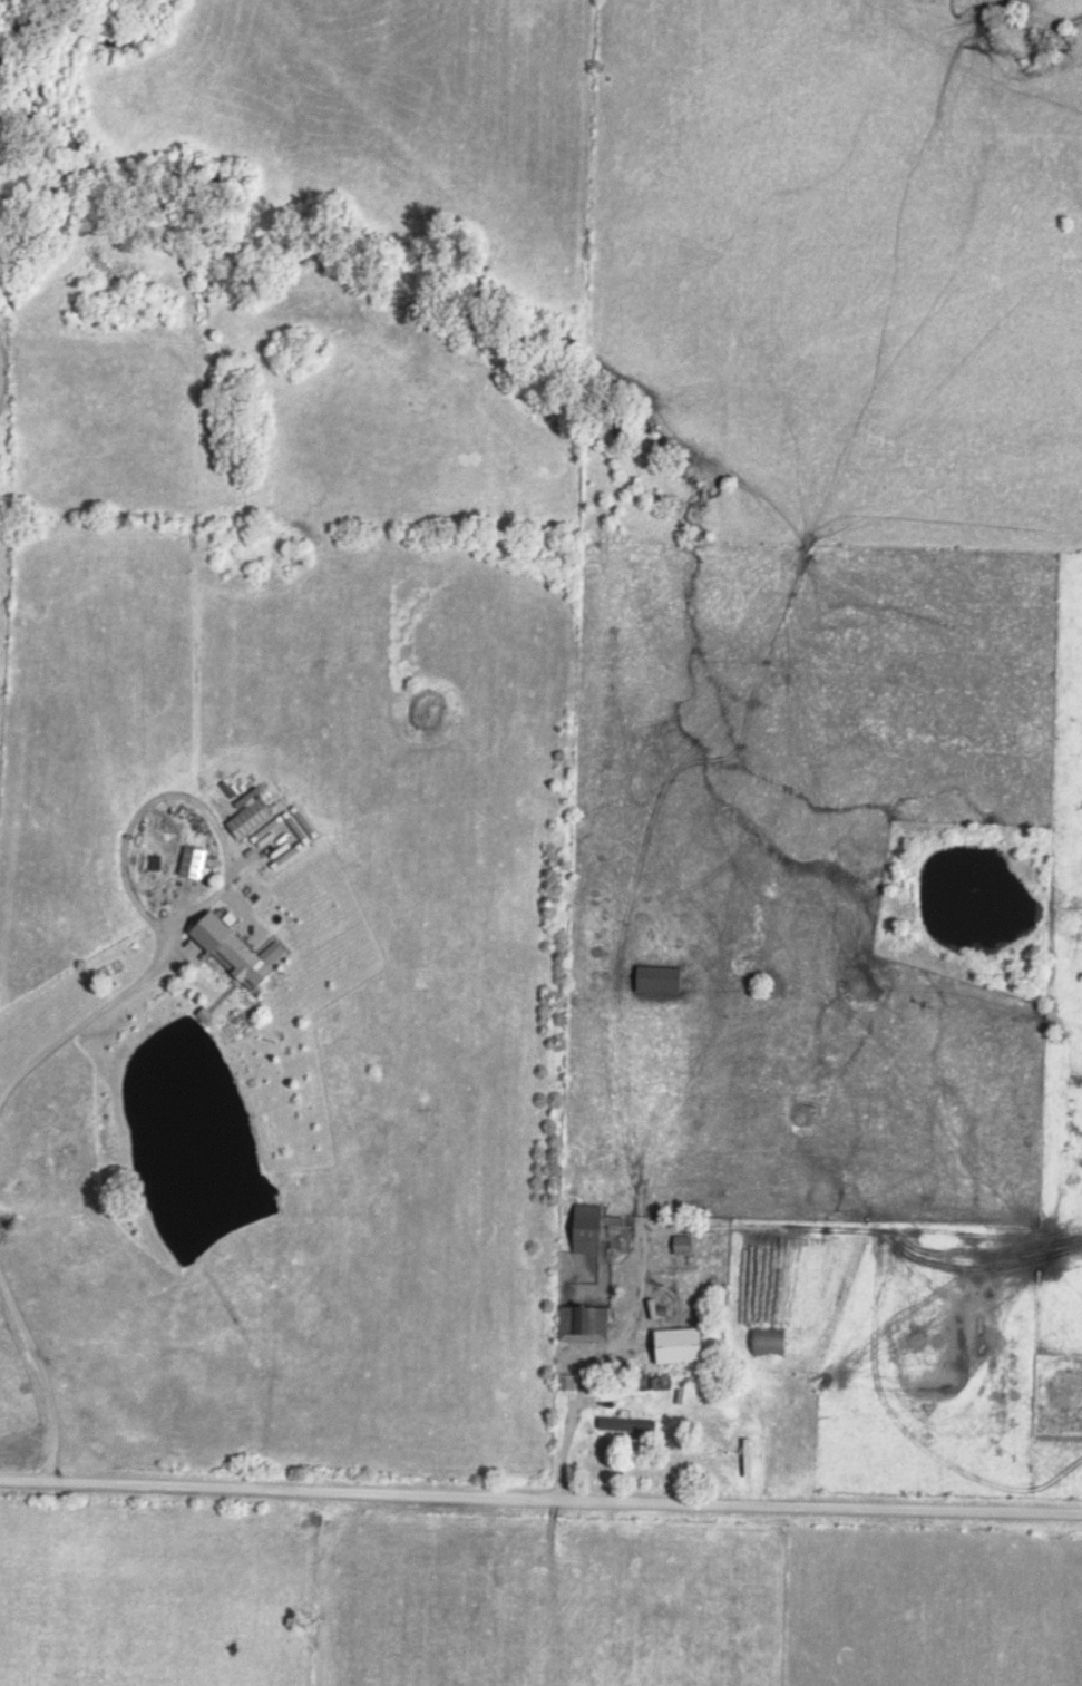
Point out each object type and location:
road: (178, 783)
building: (222, 948)
building: (654, 980)
road: (84, 1010)
building: (586, 1227)
building: (680, 1245)
building: (579, 1323)
building: (673, 1345)
road: (596, 1361)
road: (43, 1364)
road: (539, 1503)

